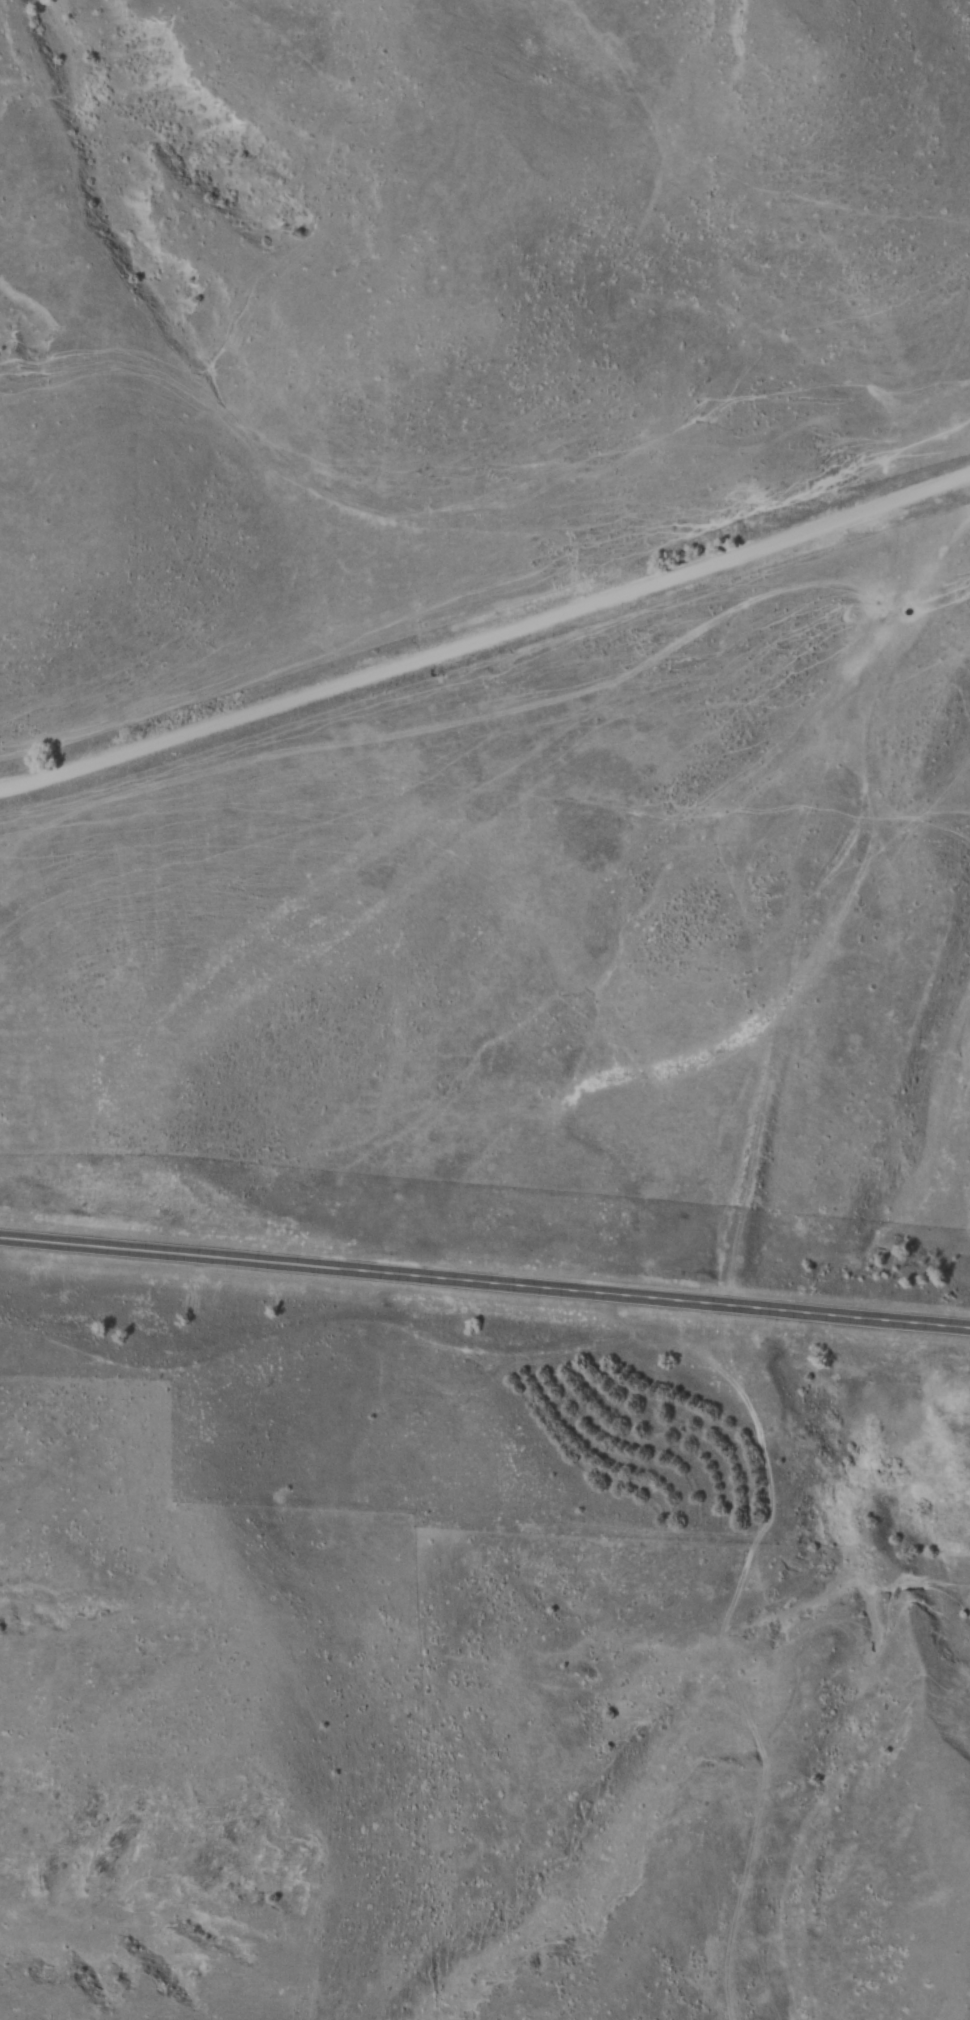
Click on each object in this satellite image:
road: (485, 636)
road: (485, 1286)

